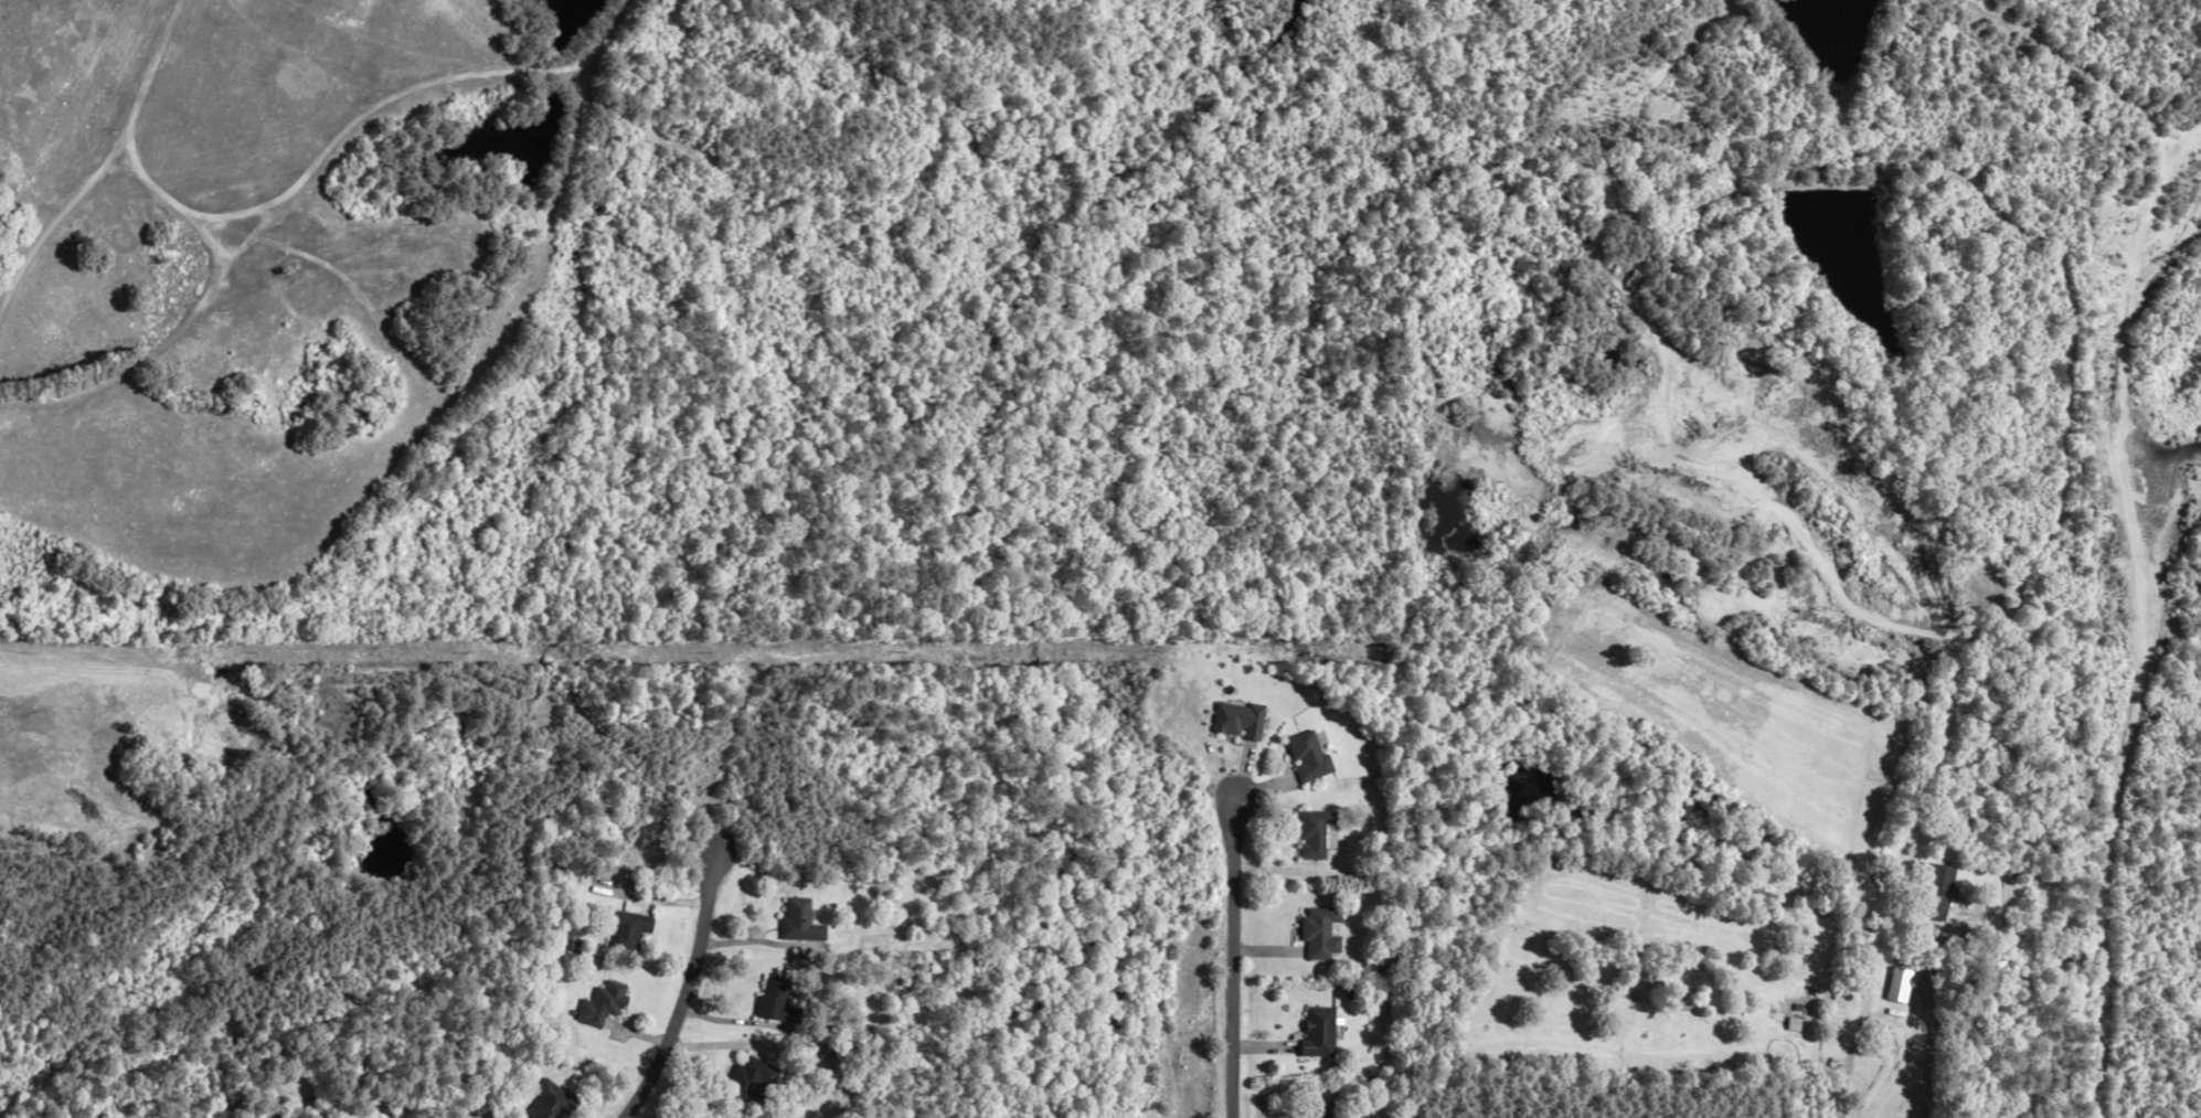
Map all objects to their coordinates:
road: (354, 120)
road: (107, 159)
building: (1245, 720)
building: (1314, 756)
building: (1318, 833)
building: (1941, 893)
building: (809, 923)
building: (635, 930)
building: (1314, 934)
road: (1879, 938)
road: (1232, 963)
building: (1896, 986)
road: (684, 995)
building: (785, 1001)
building: (612, 1002)
building: (1789, 1025)
road: (1878, 1028)
building: (1311, 1034)
building: (759, 1083)
building: (561, 1100)
building: (1314, 1110)

